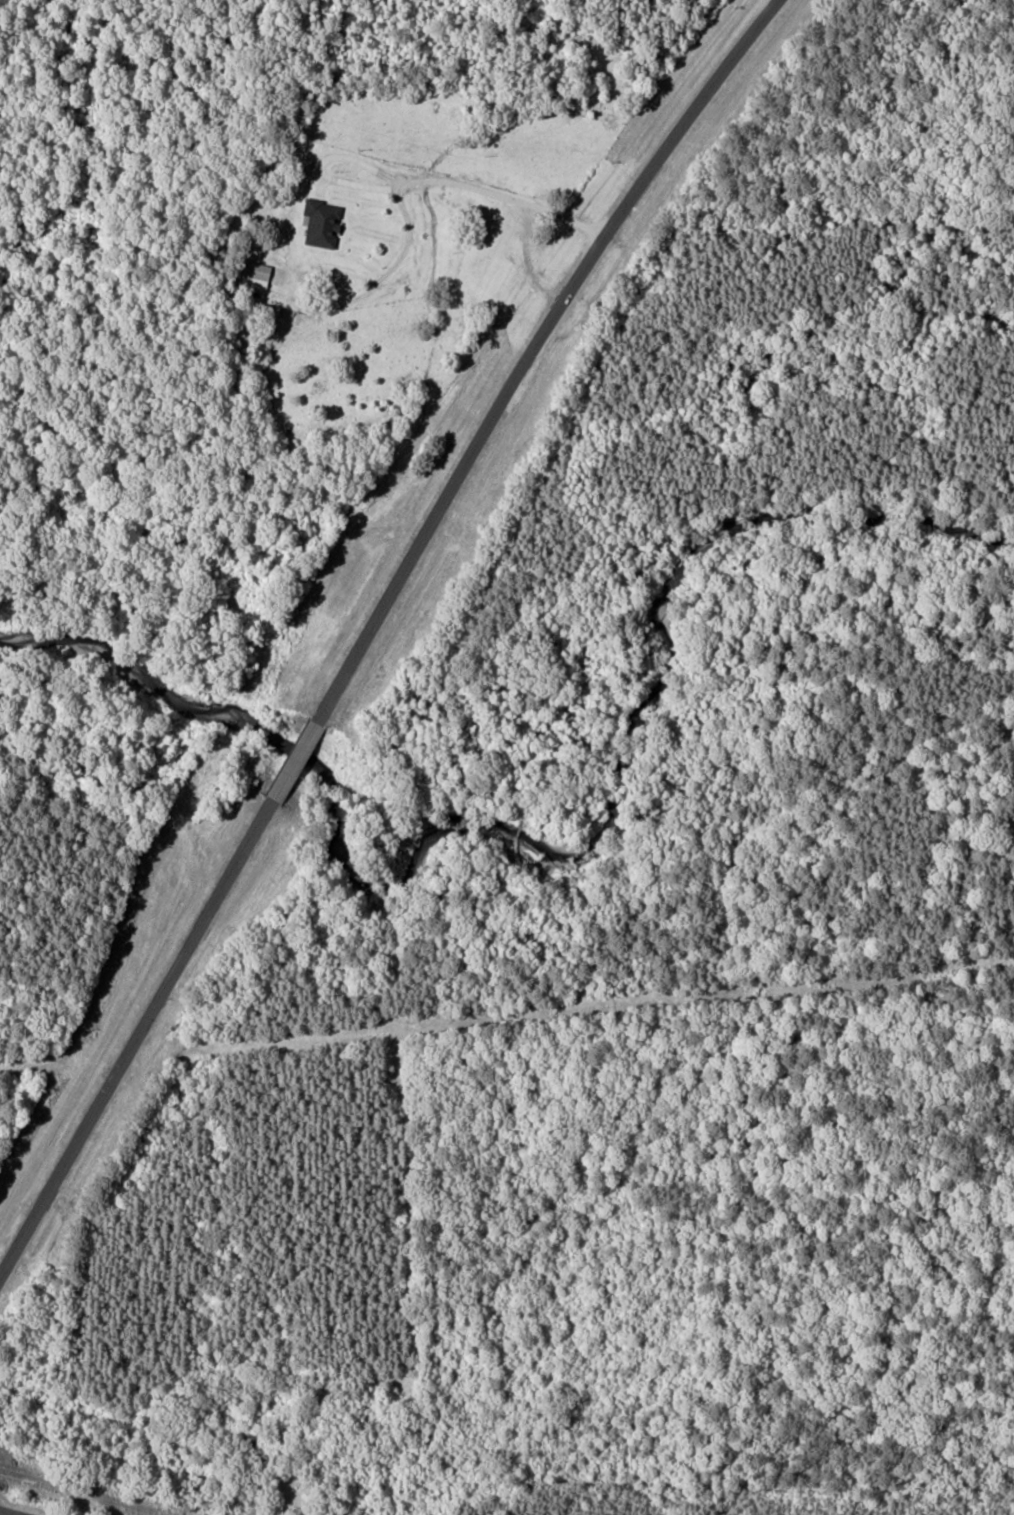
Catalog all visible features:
building: (318, 222)
building: (254, 274)
road: (533, 350)
road: (297, 760)
road: (137, 1038)
railway: (83, 1492)
road: (10, 1512)

